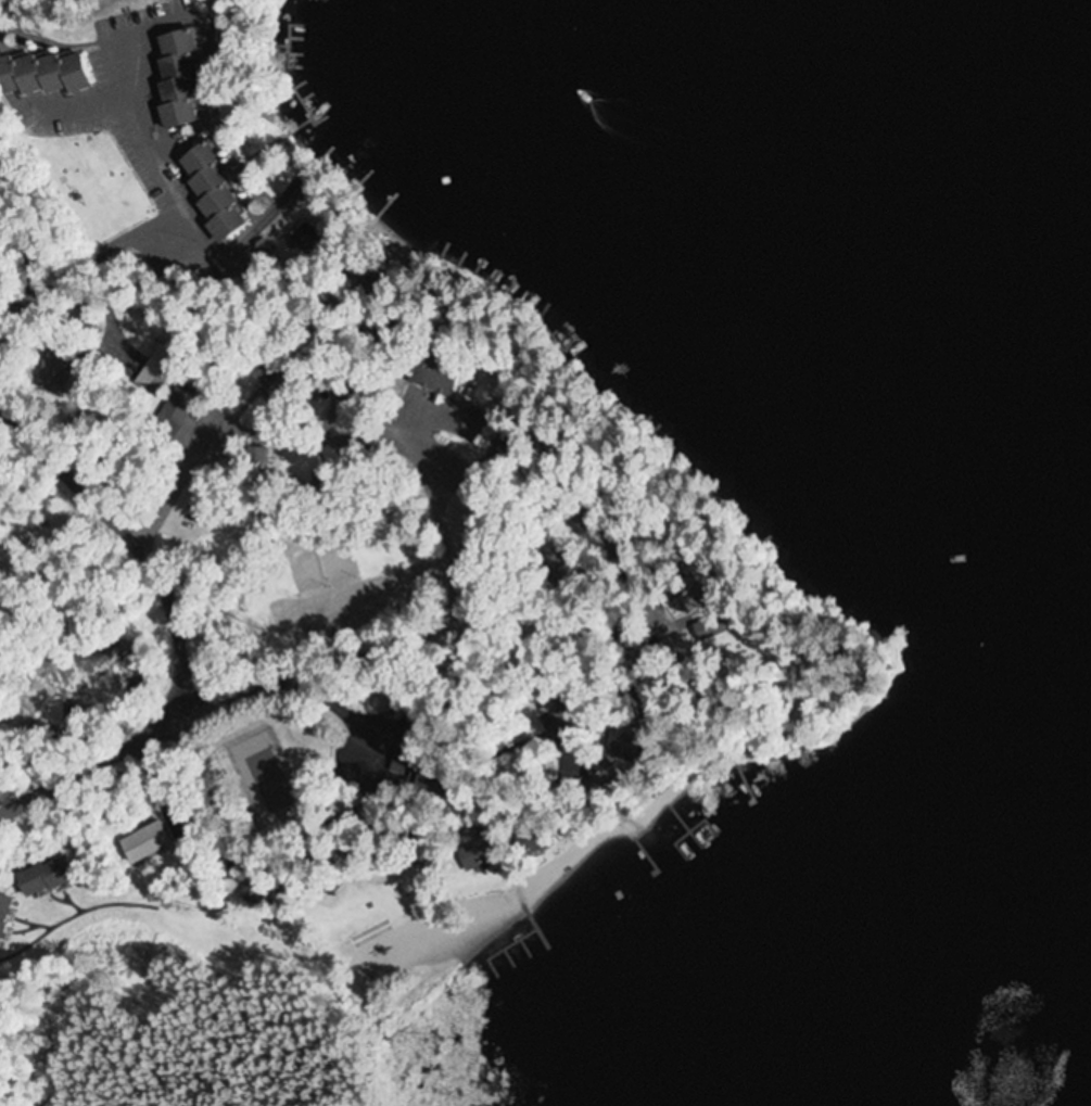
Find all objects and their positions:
building: (41, 73)
building: (174, 79)
building: (207, 193)
road: (206, 305)
building: (259, 368)
building: (154, 376)
building: (175, 410)
building: (254, 457)
road: (134, 535)
road: (408, 641)
road: (91, 763)
building: (143, 842)
building: (58, 876)
building: (9, 916)

